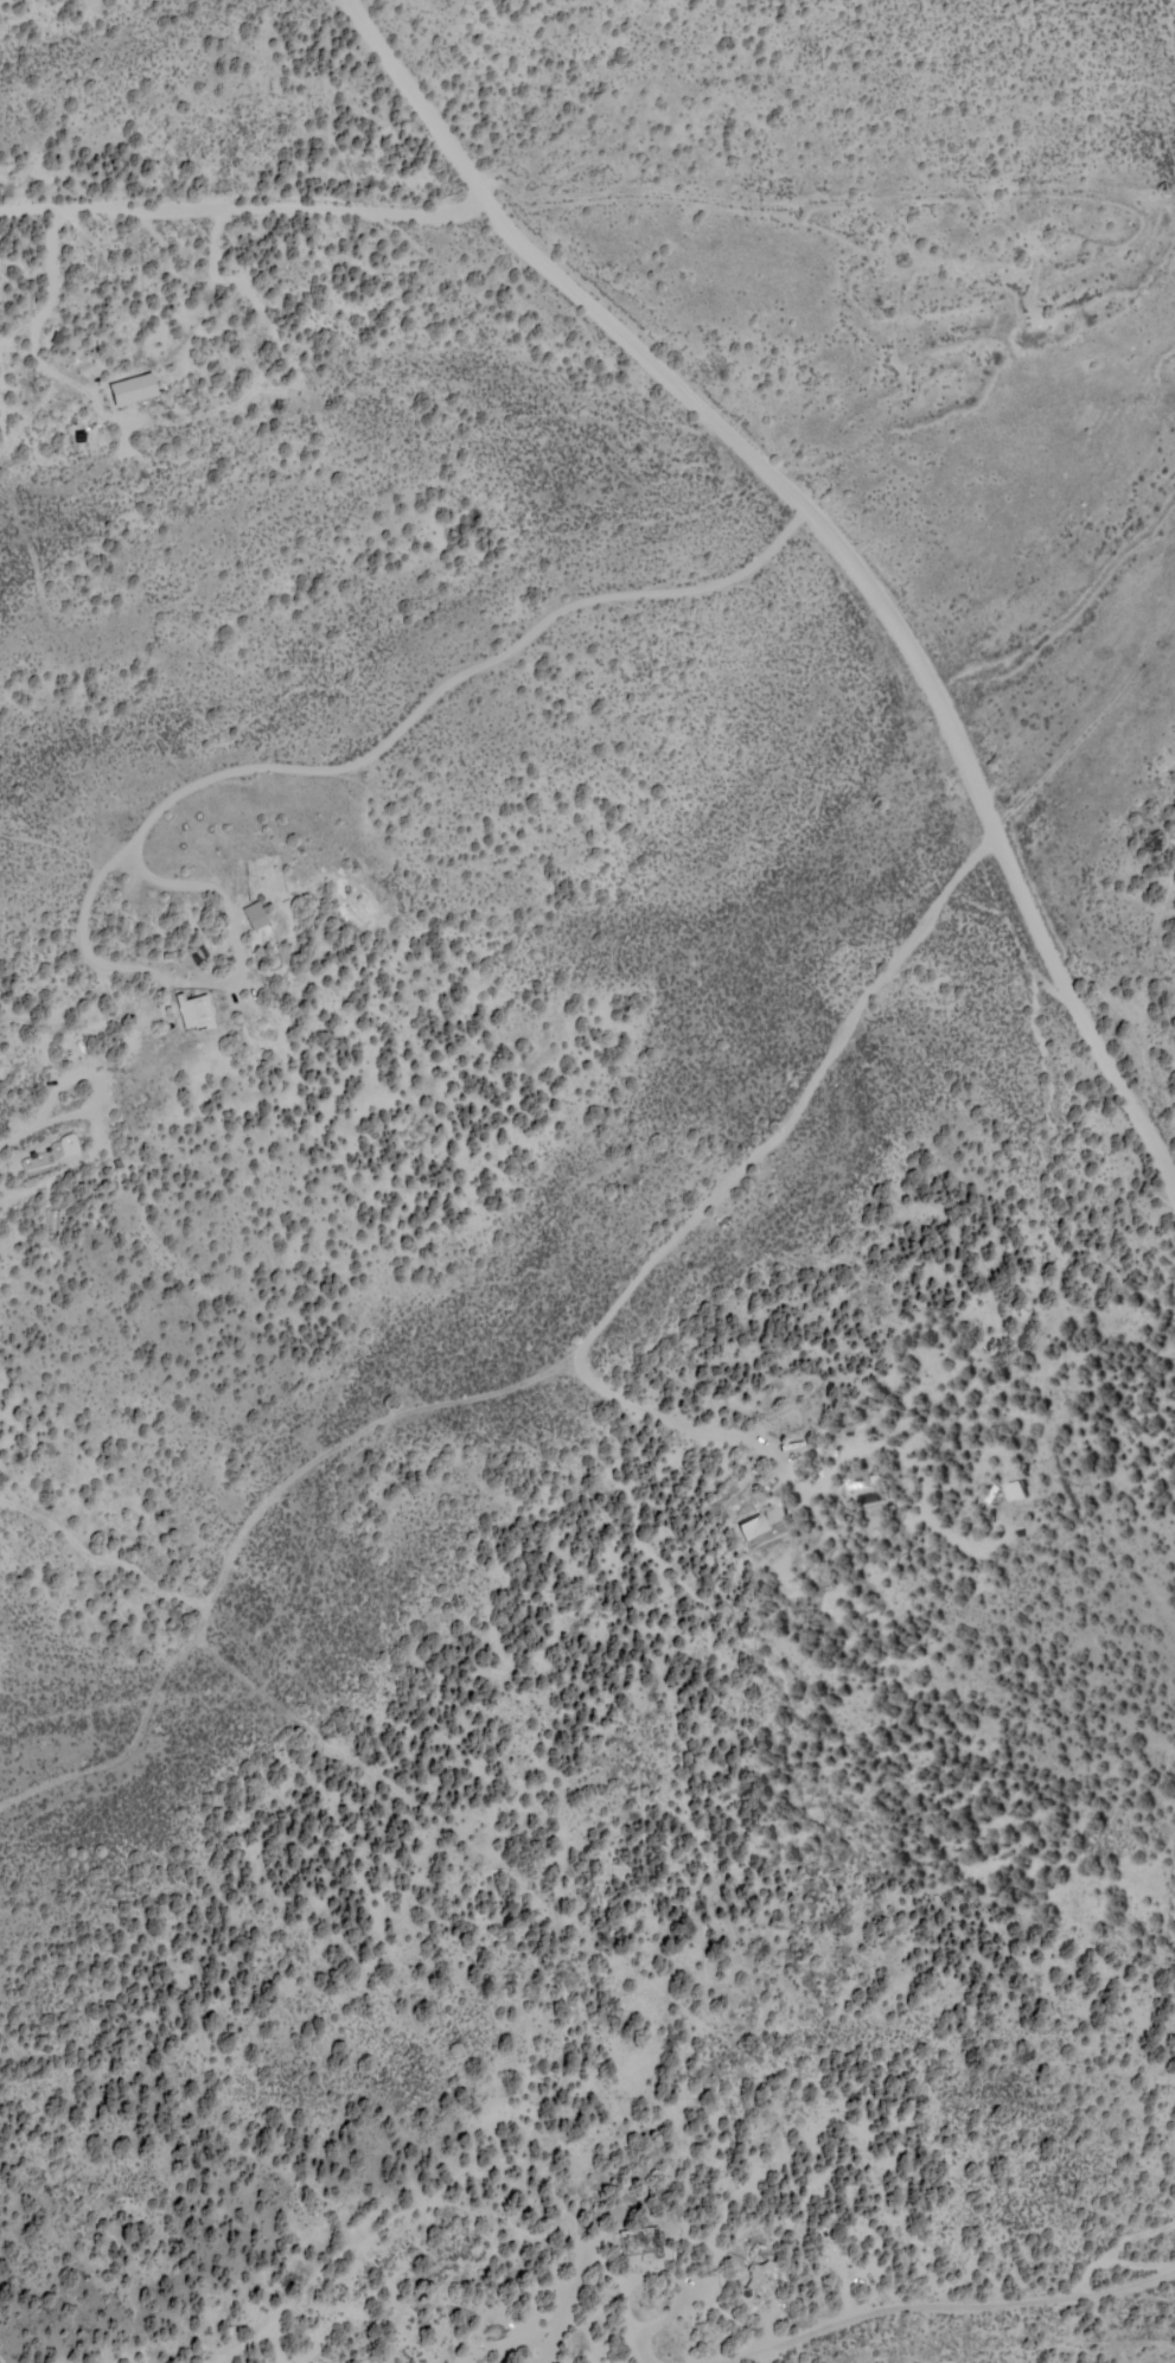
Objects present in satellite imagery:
road: (631, 346)
building: (133, 388)
building: (255, 914)
road: (1043, 943)
building: (196, 1011)
building: (52, 1155)
road: (543, 1373)
building: (1020, 1488)
building: (765, 1525)
building: (640, 2240)

